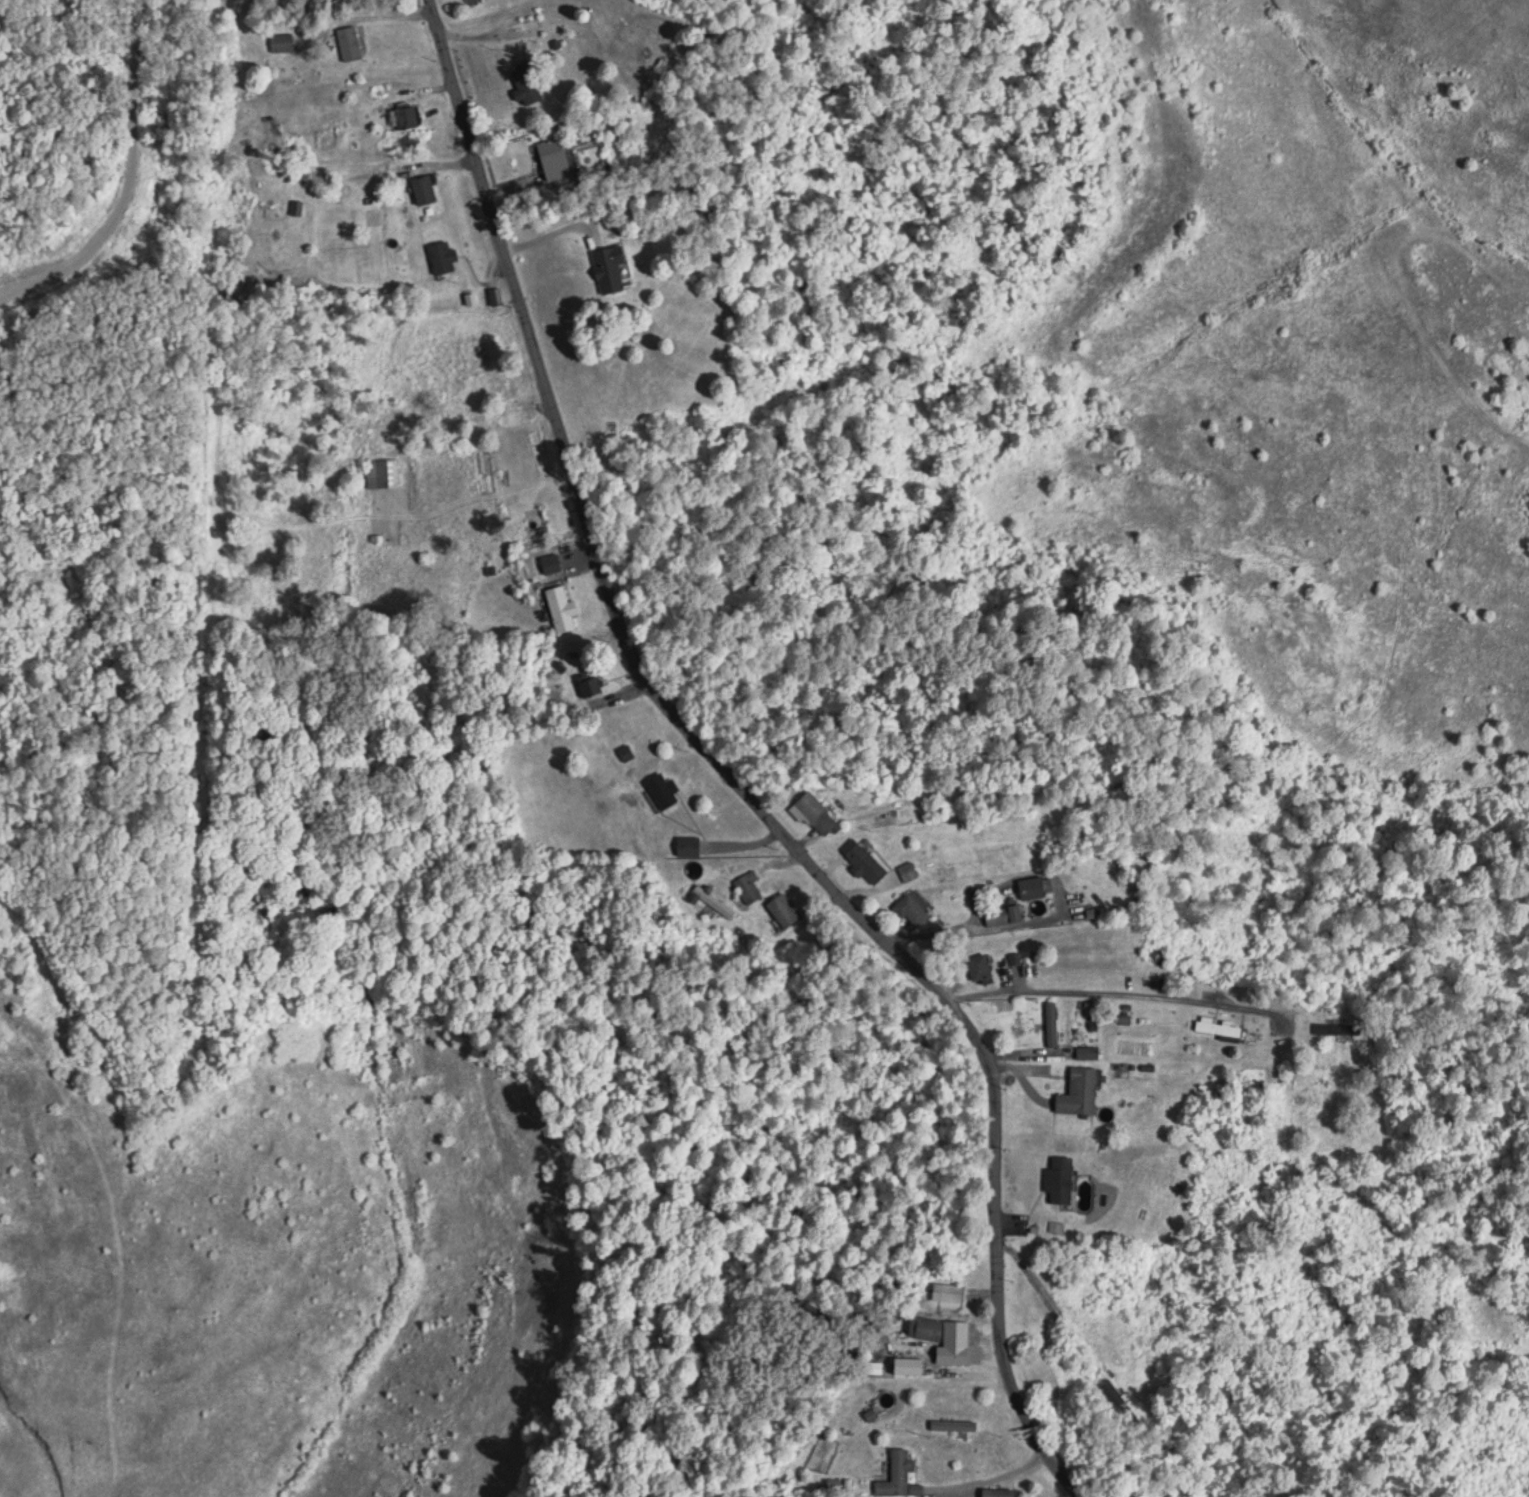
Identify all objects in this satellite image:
road: (384, 19)
building: (350, 41)
road: (63, 74)
building: (526, 83)
building: (409, 113)
building: (412, 141)
building: (555, 156)
building: (426, 187)
building: (443, 254)
building: (610, 266)
building: (475, 350)
building: (383, 471)
building: (535, 515)
building: (551, 561)
building: (558, 603)
building: (591, 682)
road: (730, 780)
building: (664, 788)
building: (817, 813)
building: (689, 844)
building: (864, 859)
building: (748, 884)
building: (1036, 885)
building: (714, 899)
building: (785, 907)
building: (915, 907)
building: (1009, 912)
road: (930, 929)
building: (980, 966)
road: (1114, 992)
building: (1051, 1021)
building: (1220, 1025)
building: (1343, 1027)
building: (1089, 1050)
building: (1080, 1090)
building: (1062, 1178)
building: (1056, 1225)
building: (948, 1290)
building: (930, 1324)
building: (954, 1422)
building: (900, 1473)
building: (1000, 1491)

